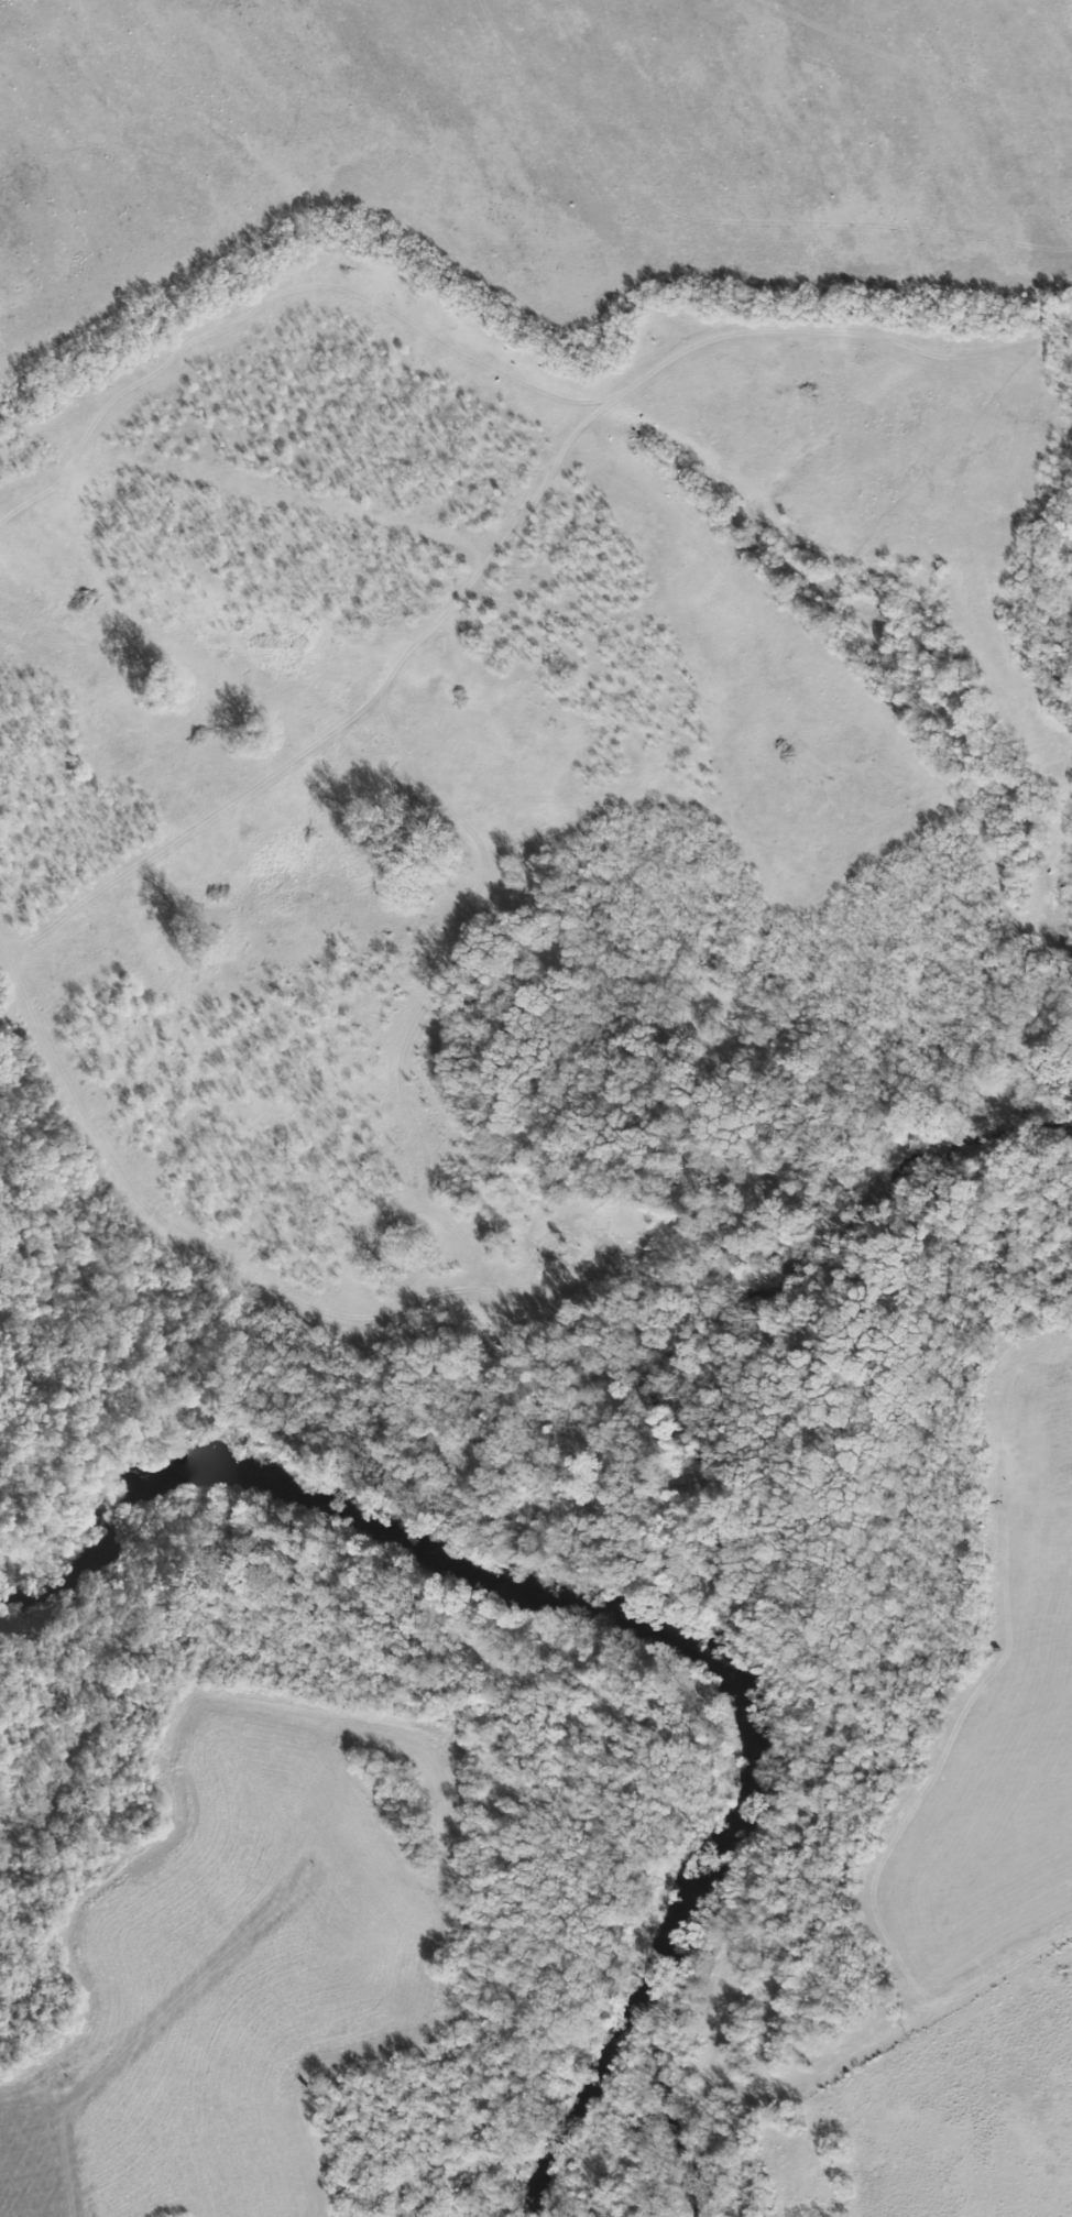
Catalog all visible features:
river: (623, 1621)

